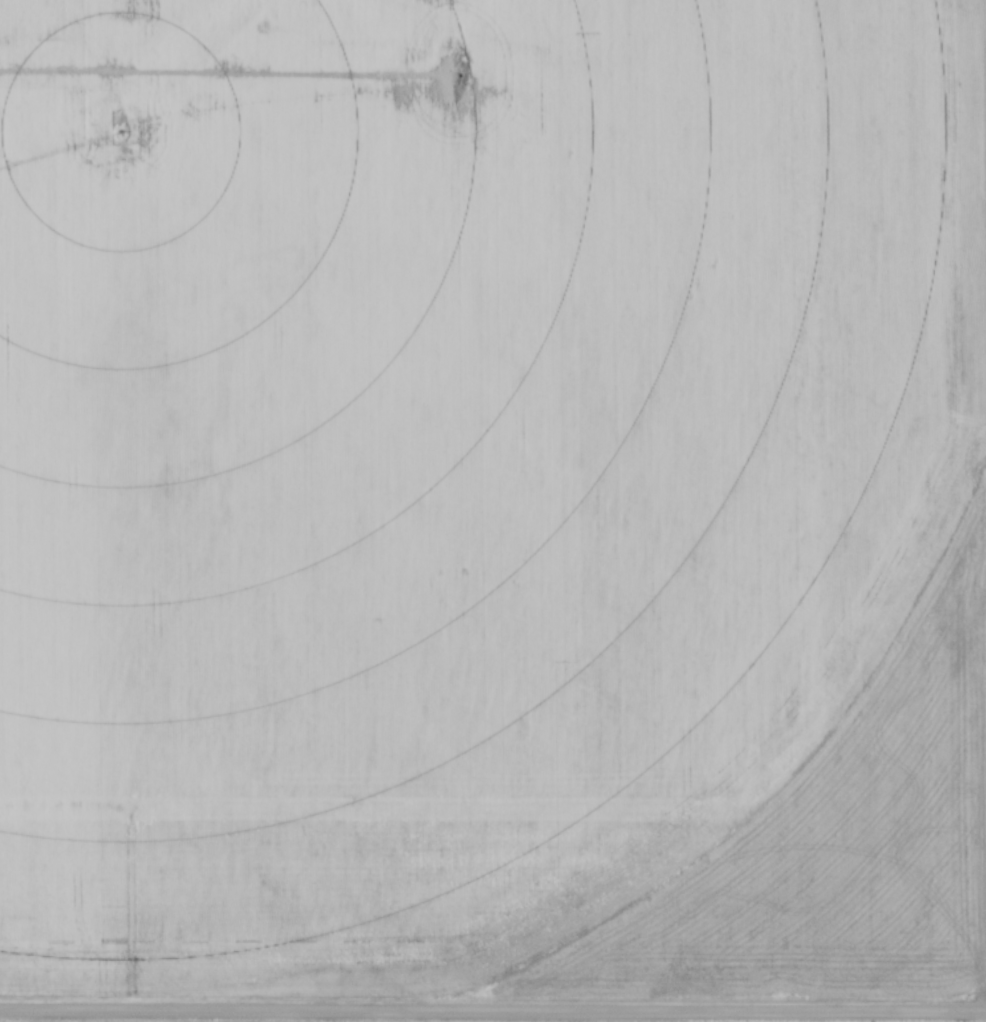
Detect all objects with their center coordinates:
road: (493, 1014)

